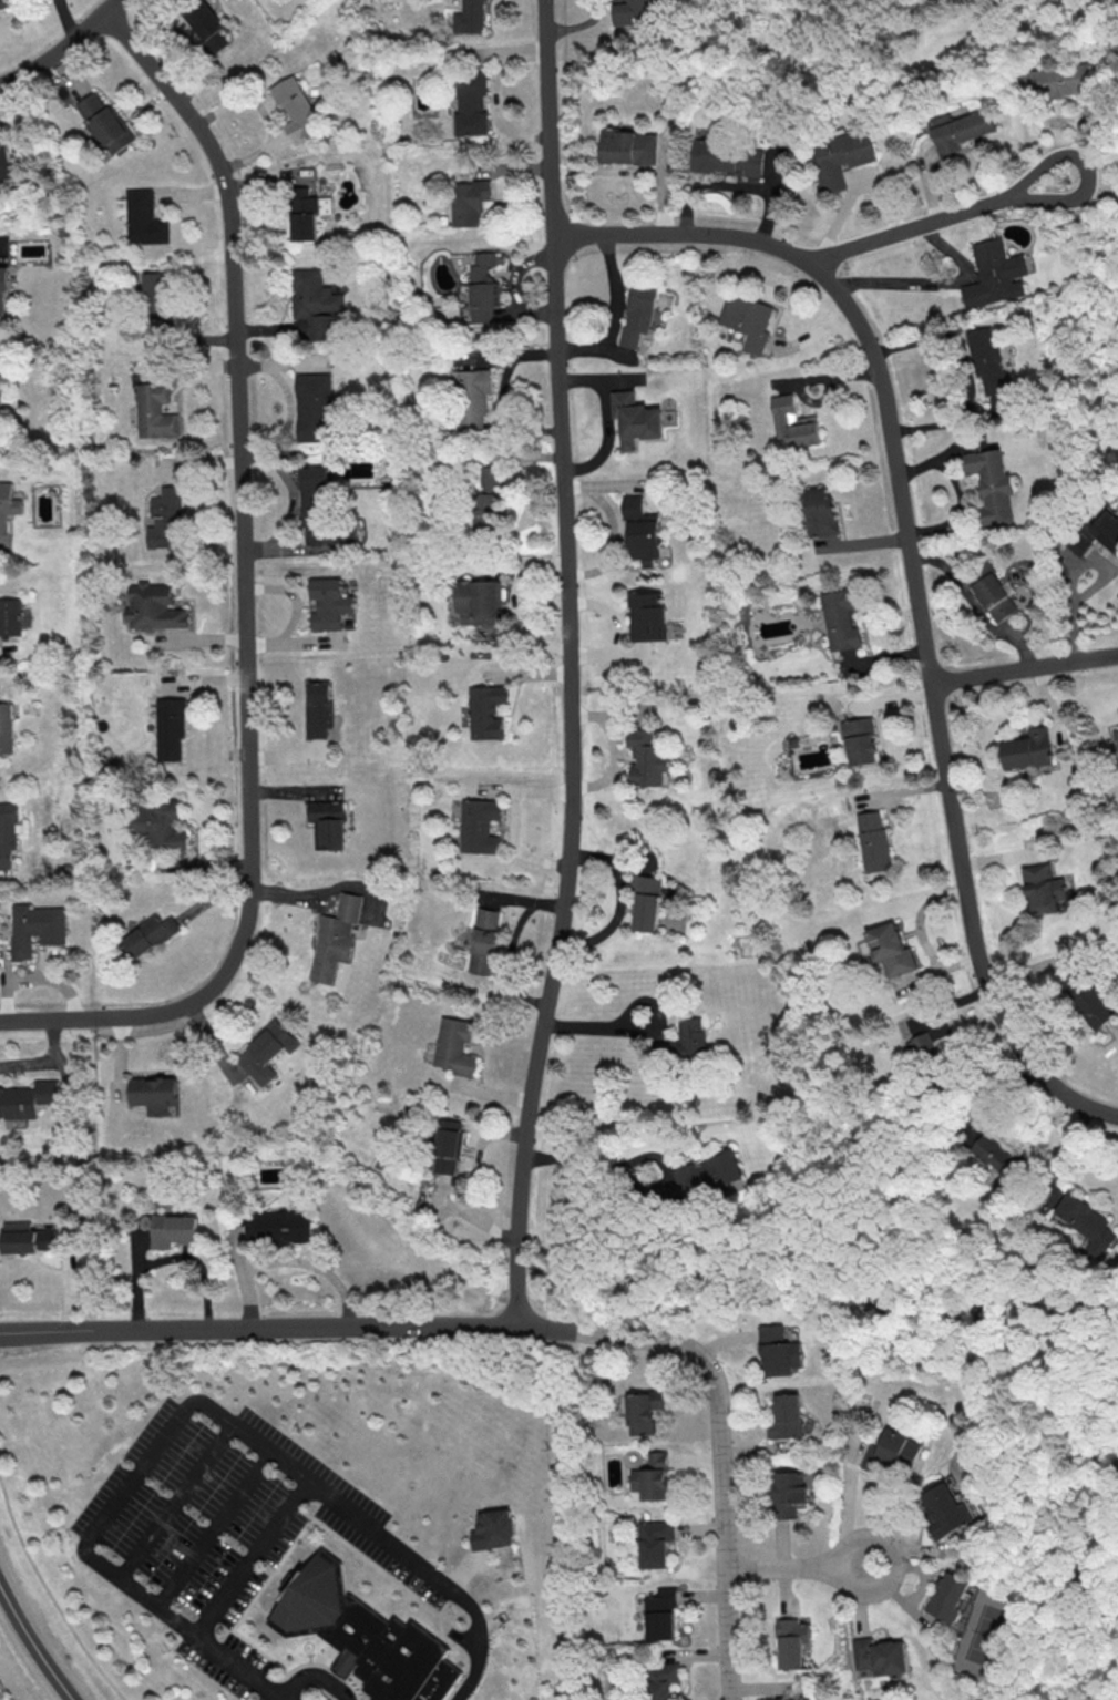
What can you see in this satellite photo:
building: (4, 3)
building: (630, 10)
building: (471, 18)
building: (209, 28)
road: (61, 47)
building: (1058, 81)
building: (474, 104)
building: (297, 110)
building: (106, 124)
building: (963, 130)
road: (1098, 143)
building: (628, 146)
building: (727, 157)
building: (842, 157)
building: (469, 203)
building: (305, 214)
building: (145, 219)
road: (941, 219)
building: (996, 274)
building: (483, 289)
building: (2, 295)
building: (310, 297)
building: (160, 301)
building: (638, 316)
building: (748, 321)
road: (864, 335)
building: (988, 359)
building: (2, 395)
building: (473, 398)
road: (289, 403)
building: (315, 408)
building: (152, 411)
building: (636, 421)
building: (793, 423)
building: (992, 485)
building: (314, 499)
road: (290, 500)
building: (489, 504)
building: (7, 509)
building: (822, 512)
building: (165, 522)
building: (642, 530)
building: (1097, 533)
road: (1096, 582)
building: (993, 593)
road: (246, 594)
building: (478, 604)
building: (327, 605)
building: (155, 608)
building: (11, 618)
building: (650, 618)
building: (841, 619)
road: (568, 665)
building: (486, 713)
building: (321, 714)
building: (170, 728)
building: (7, 729)
building: (1116, 736)
building: (860, 740)
building: (1028, 749)
building: (647, 760)
building: (162, 826)
building: (328, 826)
building: (480, 827)
building: (8, 832)
road: (957, 836)
building: (873, 841)
building: (1044, 888)
road: (327, 891)
building: (647, 902)
building: (35, 929)
building: (150, 934)
building: (336, 940)
building: (484, 943)
building: (891, 949)
building: (1086, 1000)
road: (630, 1011)
road: (592, 1025)
building: (684, 1045)
building: (921, 1045)
building: (268, 1047)
building: (455, 1048)
road: (43, 1059)
building: (155, 1095)
building: (28, 1100)
building: (449, 1146)
building: (995, 1154)
road: (606, 1166)
building: (706, 1178)
building: (1087, 1222)
building: (279, 1227)
building: (173, 1231)
building: (27, 1237)
road: (288, 1260)
road: (1023, 1291)
road: (258, 1332)
building: (780, 1351)
road: (213, 1410)
building: (645, 1413)
building: (787, 1416)
road: (718, 1432)
building: (893, 1454)
road: (139, 1472)
building: (655, 1479)
building: (787, 1493)
road: (174, 1498)
road: (341, 1505)
building: (944, 1509)
parking lot: (223, 1526)
road: (213, 1527)
building: (500, 1535)
building: (655, 1545)
road: (250, 1555)
road: (797, 1567)
road: (137, 1589)
road: (50, 1595)
building: (948, 1596)
building: (661, 1618)
building: (366, 1636)
road: (466, 1639)
road: (481, 1642)
building: (791, 1645)
road: (32, 1646)
building: (881, 1655)
road: (239, 1666)
road: (314, 1672)
building: (661, 1681)
building: (807, 1699)

